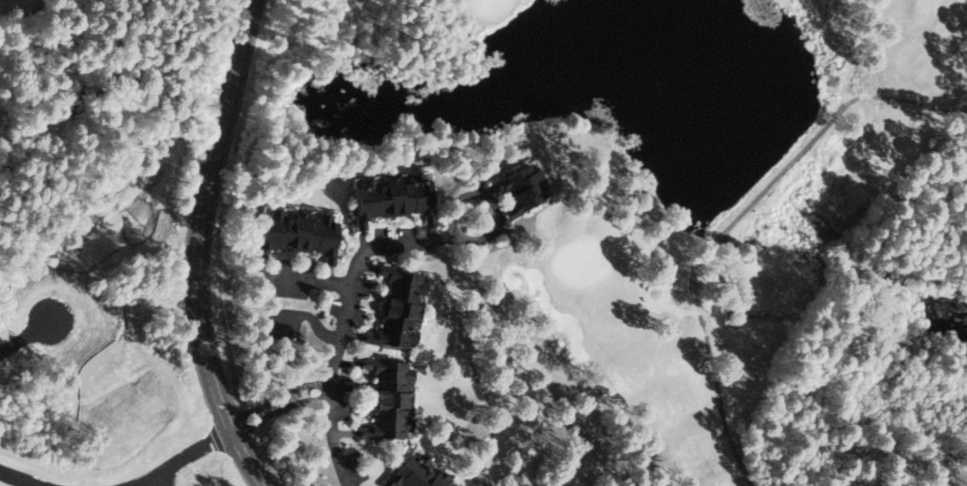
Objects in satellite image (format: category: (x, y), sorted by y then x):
road: (27, 12)
dam: (764, 178)
building: (520, 187)
building: (389, 196)
road: (966, 198)
road: (493, 205)
building: (294, 231)
park: (646, 244)
road: (199, 247)
road: (730, 257)
road: (303, 277)
building: (398, 307)
road: (345, 318)
road: (25, 336)
building: (389, 398)
road: (334, 433)
road: (180, 460)
road: (24, 478)

